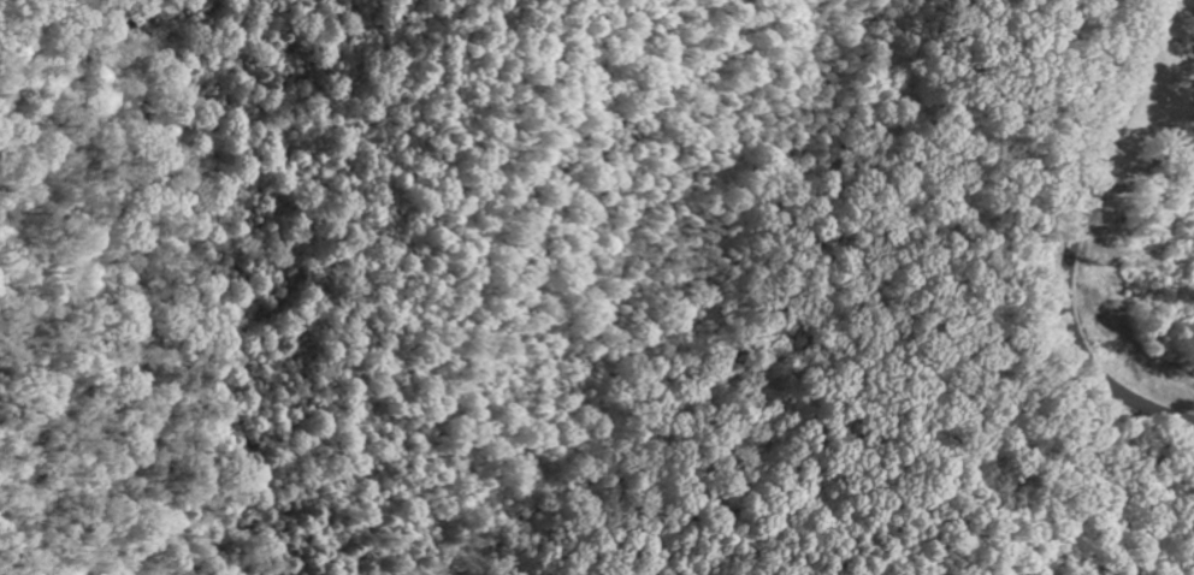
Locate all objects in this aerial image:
road: (1071, 241)

